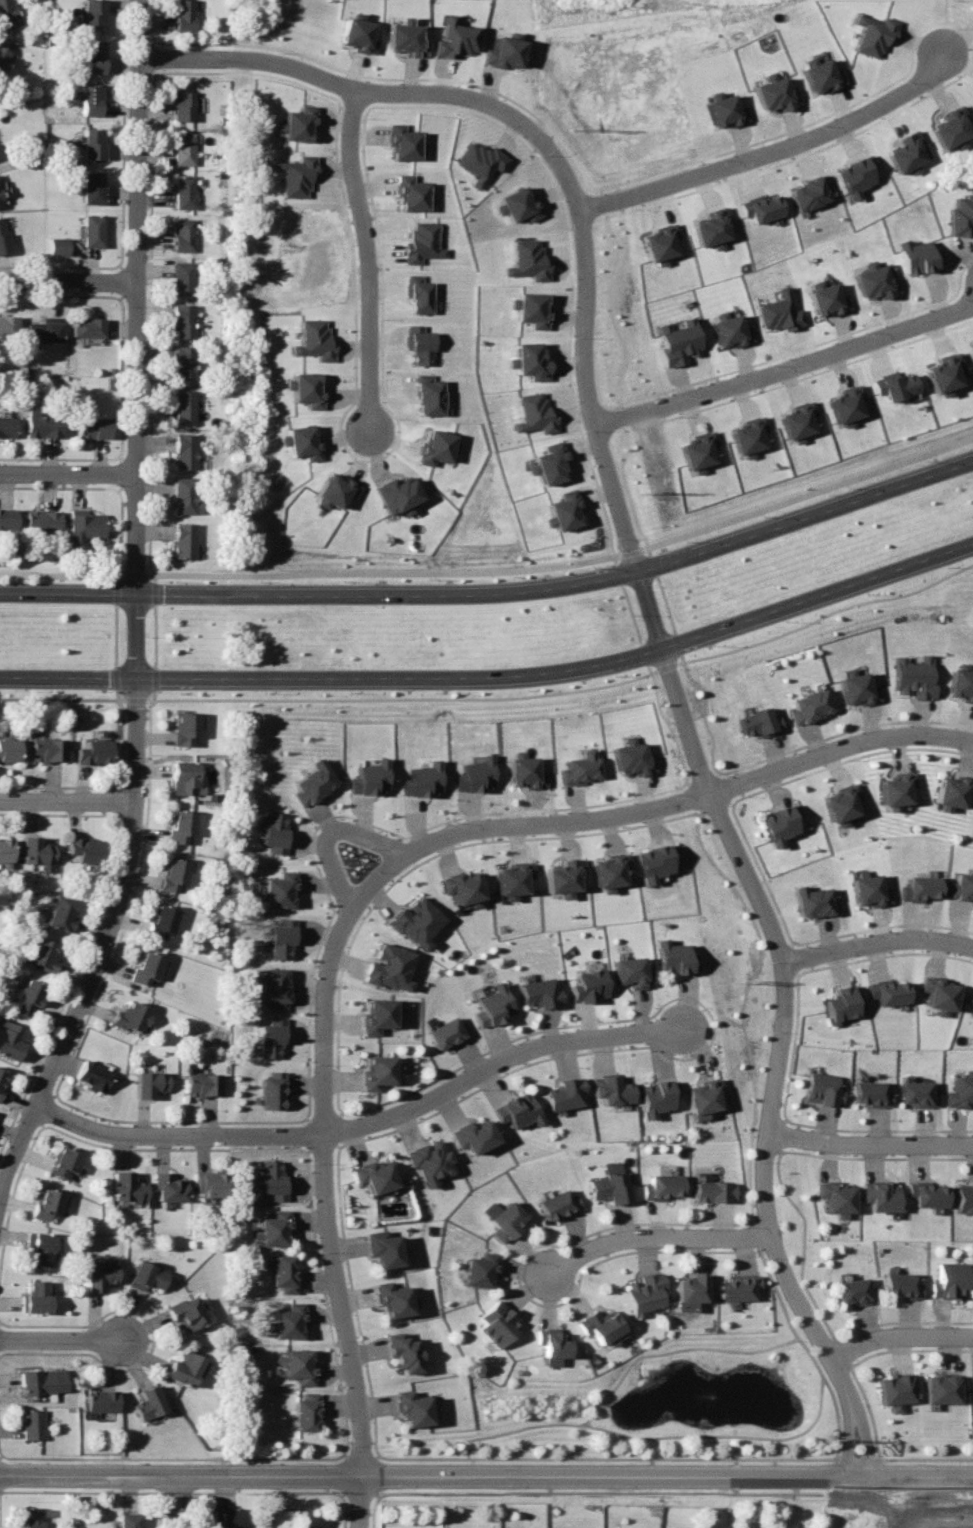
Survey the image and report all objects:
park: (591, 6)
building: (5, 13)
building: (93, 13)
building: (184, 15)
building: (353, 29)
road: (945, 29)
building: (867, 33)
building: (453, 36)
building: (404, 38)
building: (3, 56)
building: (93, 57)
building: (814, 71)
road: (380, 91)
building: (773, 95)
building: (91, 101)
building: (182, 105)
building: (722, 110)
building: (294, 119)
building: (950, 126)
power tower: (578, 129)
building: (92, 143)
building: (405, 143)
road: (766, 144)
building: (183, 150)
building: (907, 153)
building: (481, 162)
building: (295, 176)
building: (854, 177)
building: (92, 188)
building: (185, 192)
building: (809, 192)
building: (413, 194)
road: (136, 202)
building: (518, 204)
building: (760, 208)
building: (960, 214)
building: (710, 228)
building: (91, 230)
building: (183, 234)
building: (3, 239)
building: (425, 243)
building: (660, 244)
building: (58, 246)
building: (917, 256)
building: (529, 260)
road: (368, 261)
building: (183, 277)
road: (68, 280)
building: (875, 280)
building: (420, 294)
building: (825, 300)
building: (531, 309)
building: (777, 312)
building: (184, 320)
building: (8, 326)
building: (88, 328)
building: (727, 329)
building: (43, 332)
building: (314, 340)
building: (677, 342)
building: (421, 344)
road: (785, 360)
building: (530, 361)
building: (184, 362)
building: (946, 373)
building: (896, 385)
building: (304, 389)
building: (430, 398)
building: (846, 405)
building: (183, 407)
building: (534, 414)
building: (797, 421)
building: (40, 425)
building: (7, 427)
building: (92, 427)
building: (749, 436)
road: (135, 439)
building: (300, 441)
building: (434, 443)
building: (184, 451)
building: (699, 452)
building: (549, 464)
road: (67, 472)
building: (334, 490)
building: (398, 495)
power tower: (646, 495)
building: (185, 497)
building: (563, 511)
building: (7, 520)
building: (42, 521)
building: (84, 528)
building: (183, 540)
road: (495, 567)
road: (496, 594)
building: (914, 672)
road: (496, 677)
building: (959, 679)
building: (856, 683)
building: (809, 700)
building: (758, 716)
building: (184, 725)
building: (46, 748)
building: (8, 749)
building: (92, 751)
building: (632, 754)
building: (575, 763)
building: (521, 767)
building: (473, 769)
building: (364, 773)
building: (184, 776)
building: (419, 776)
building: (309, 777)
building: (894, 783)
building: (951, 783)
building: (839, 796)
road: (66, 801)
road: (658, 808)
building: (778, 815)
building: (180, 825)
building: (271, 827)
road: (331, 827)
road: (733, 842)
building: (5, 848)
building: (85, 849)
road: (128, 849)
building: (36, 850)
building: (657, 854)
building: (606, 864)
building: (560, 869)
building: (507, 871)
building: (173, 874)
building: (460, 880)
building: (963, 880)
building: (278, 883)
building: (918, 883)
building: (869, 886)
building: (815, 895)
building: (60, 913)
building: (412, 915)
building: (161, 920)
building: (280, 931)
road: (877, 940)
building: (674, 951)
building: (43, 954)
building: (385, 961)
building: (629, 966)
building: (146, 967)
building: (583, 976)
power tower: (742, 980)
building: (273, 983)
building: (536, 986)
building: (885, 987)
building: (937, 987)
building: (841, 995)
building: (28, 996)
building: (971, 999)
building: (490, 1002)
building: (971, 1006)
building: (373, 1010)
building: (971, 1013)
building: (130, 1014)
building: (446, 1027)
building: (271, 1032)
building: (11, 1038)
building: (374, 1066)
building: (95, 1075)
building: (2, 1080)
building: (152, 1082)
building: (204, 1083)
building: (272, 1083)
building: (605, 1084)
building: (962, 1086)
building: (560, 1087)
building: (825, 1088)
building: (873, 1088)
building: (919, 1088)
building: (699, 1089)
building: (654, 1090)
building: (514, 1102)
road: (365, 1119)
building: (471, 1130)
road: (869, 1143)
building: (426, 1153)
building: (67, 1163)
building: (272, 1174)
building: (375, 1174)
building: (663, 1181)
building: (210, 1184)
building: (169, 1186)
building: (611, 1186)
building: (712, 1186)
building: (128, 1188)
building: (965, 1190)
building: (833, 1191)
building: (930, 1193)
building: (883, 1194)
building: (50, 1203)
building: (560, 1204)
road: (327, 1213)
building: (507, 1220)
building: (273, 1227)
road: (654, 1238)
building: (381, 1245)
building: (41, 1247)
building: (282, 1269)
building: (483, 1269)
building: (101, 1272)
building: (948, 1274)
building: (148, 1276)
building: (901, 1279)
building: (737, 1282)
building: (694, 1283)
building: (851, 1286)
building: (645, 1289)
building: (391, 1294)
building: (37, 1297)
building: (187, 1311)
building: (287, 1316)
building: (499, 1324)
building: (601, 1326)
road: (901, 1337)
road: (62, 1339)
building: (553, 1342)
building: (404, 1351)
building: (297, 1360)
building: (185, 1368)
building: (971, 1378)
building: (39, 1381)
building: (894, 1383)
building: (939, 1383)
building: (103, 1400)
building: (149, 1402)
building: (412, 1404)
building: (304, 1407)
building: (33, 1423)
power tower: (829, 1439)
road: (87, 1473)
road: (574, 1473)
road: (175, 1501)
building: (32, 1517)
building: (227, 1517)
building: (130, 1520)

